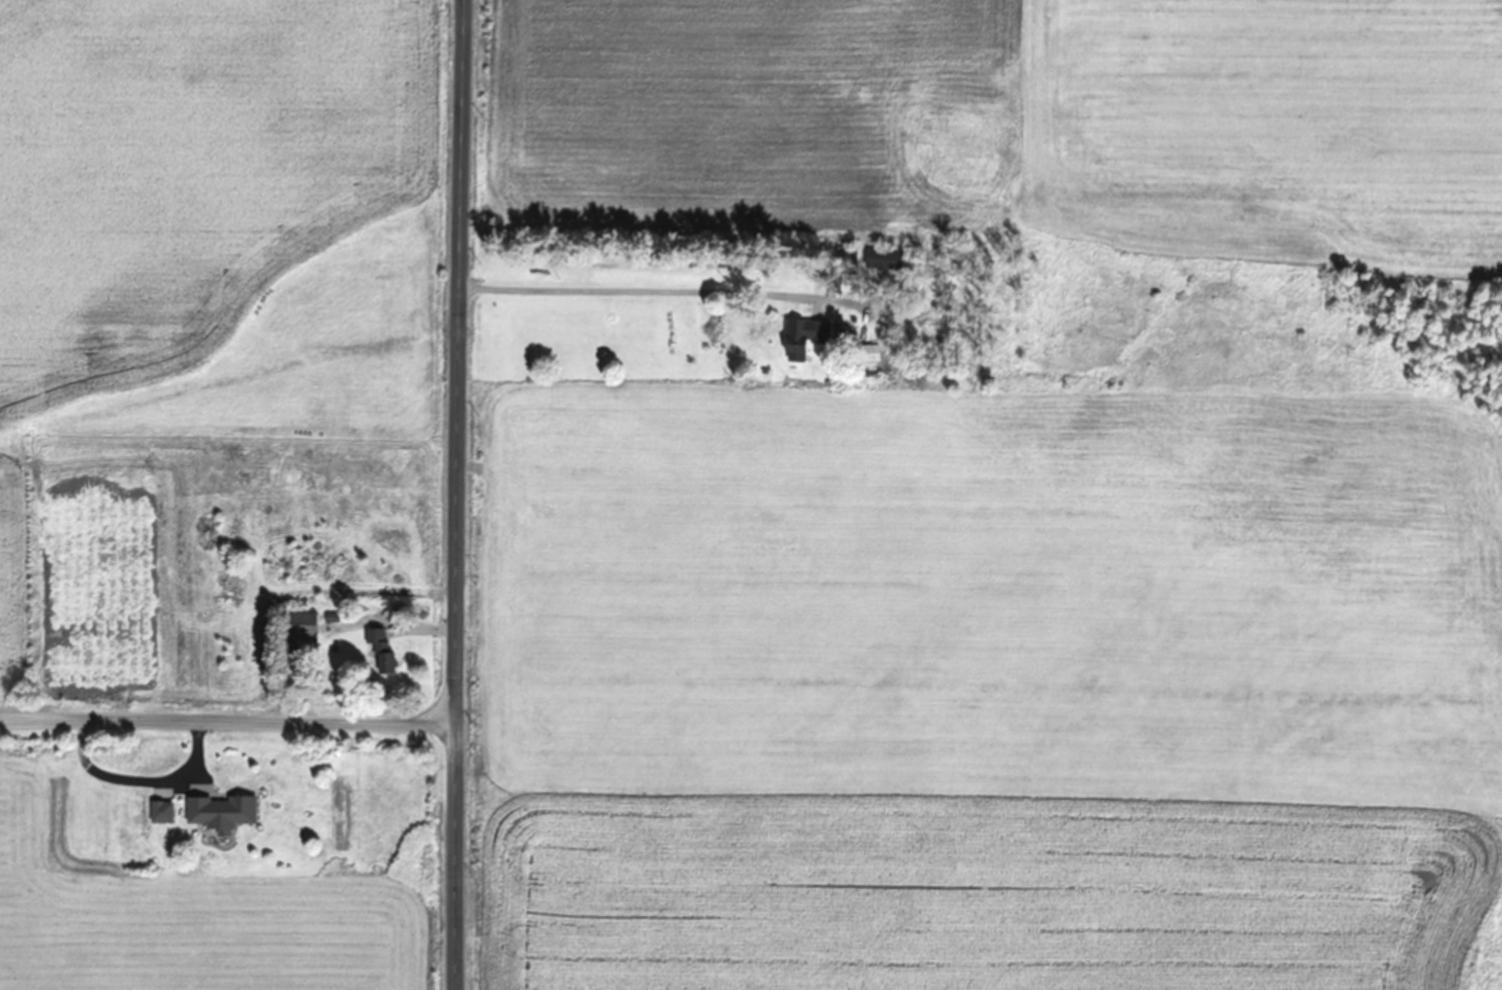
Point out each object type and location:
building: (802, 338)
building: (866, 353)
road: (456, 494)
building: (297, 626)
building: (379, 651)
road: (227, 723)
building: (159, 751)
building: (158, 813)
building: (218, 813)

